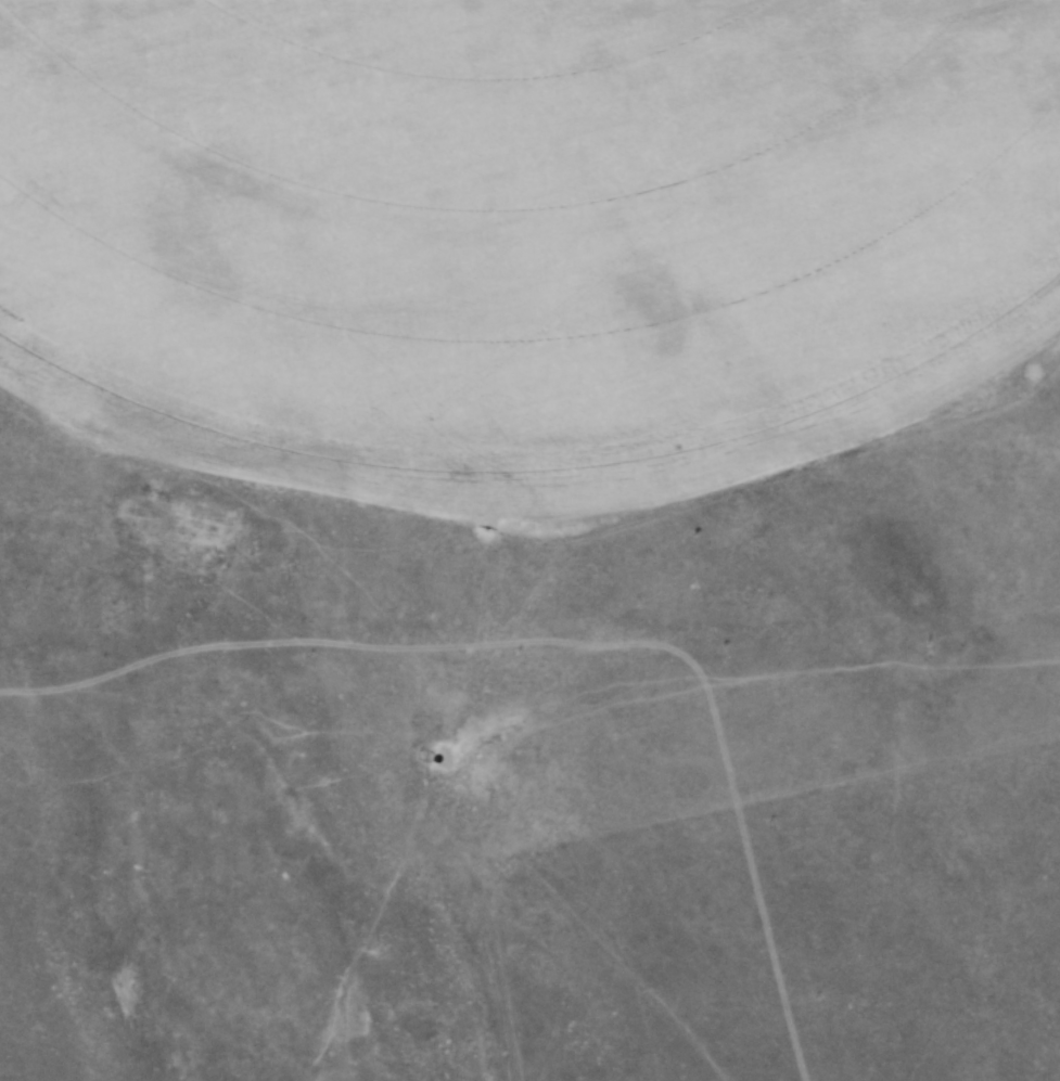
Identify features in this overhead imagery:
crop: (519, 233)

